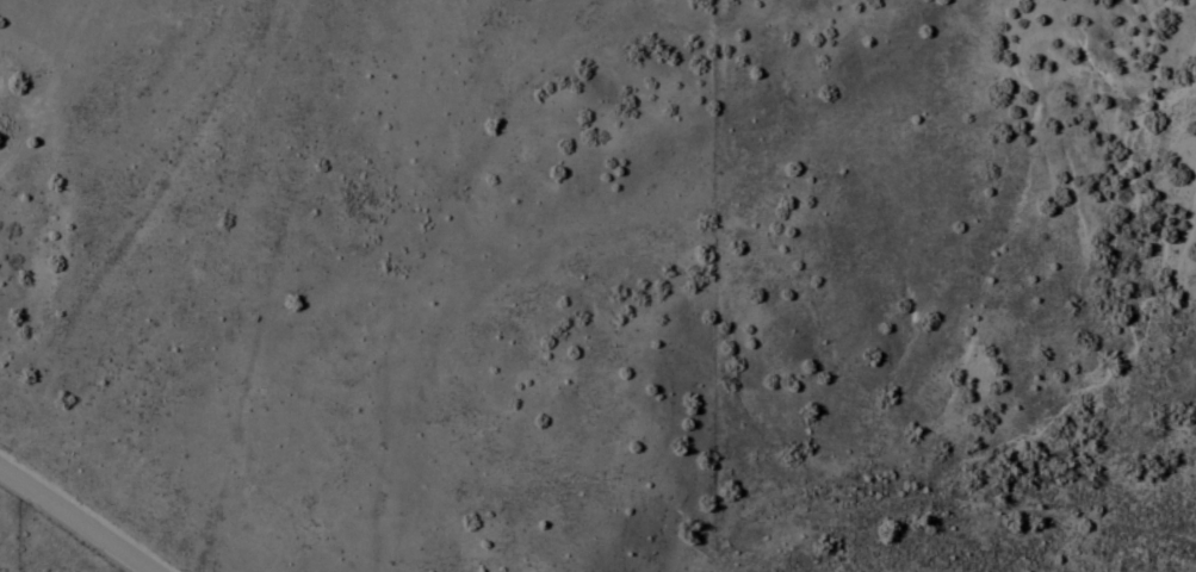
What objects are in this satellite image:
road: (74, 521)

